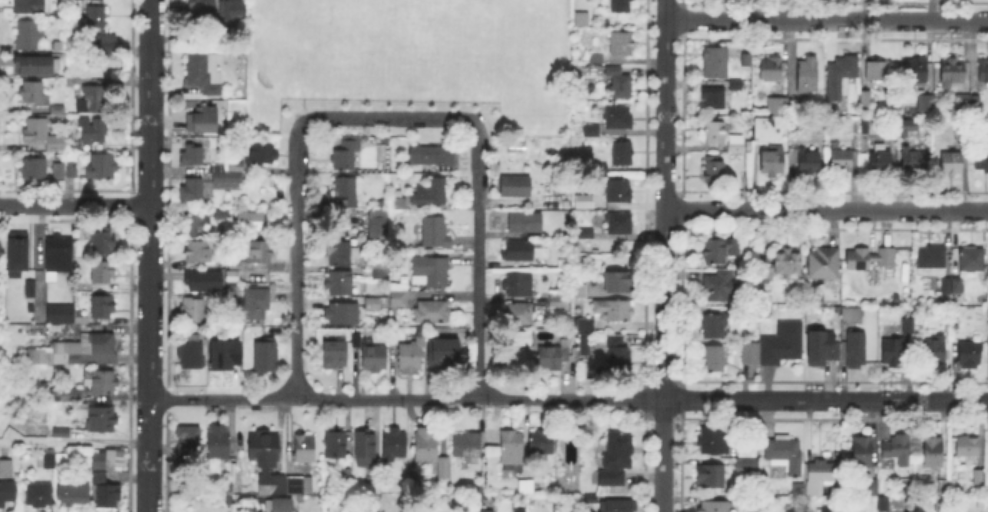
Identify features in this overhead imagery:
building: (715, 1)
building: (622, 6)
building: (32, 7)
building: (202, 9)
building: (232, 12)
building: (96, 20)
building: (583, 21)
road: (827, 21)
park: (402, 33)
building: (27, 35)
building: (104, 43)
building: (621, 45)
building: (597, 58)
building: (32, 64)
building: (716, 65)
building: (876, 68)
building: (771, 70)
building: (917, 70)
building: (983, 72)
building: (205, 73)
building: (952, 74)
building: (807, 77)
building: (841, 78)
building: (71, 80)
building: (617, 82)
building: (739, 86)
building: (34, 95)
building: (93, 100)
building: (716, 100)
building: (866, 100)
building: (925, 101)
road: (151, 102)
building: (962, 102)
building: (976, 106)
building: (775, 107)
building: (58, 111)
road: (300, 111)
road: (482, 111)
building: (206, 118)
road: (387, 118)
building: (616, 118)
building: (903, 126)
building: (864, 128)
building: (961, 129)
building: (93, 131)
building: (591, 131)
building: (763, 133)
building: (43, 137)
building: (723, 138)
building: (74, 147)
building: (192, 152)
building: (258, 152)
building: (347, 156)
building: (431, 157)
building: (624, 157)
building: (841, 161)
building: (982, 161)
building: (808, 163)
building: (880, 163)
building: (912, 163)
building: (233, 164)
building: (771, 164)
building: (952, 164)
building: (599, 167)
building: (59, 169)
building: (73, 170)
building: (102, 170)
building: (33, 171)
building: (715, 174)
building: (227, 182)
building: (515, 188)
building: (191, 189)
building: (346, 189)
building: (619, 193)
building: (431, 194)
road: (665, 199)
building: (398, 200)
building: (581, 200)
road: (75, 205)
road: (826, 209)
building: (222, 216)
building: (248, 219)
building: (525, 220)
building: (375, 223)
building: (197, 224)
building: (620, 225)
building: (585, 232)
building: (435, 233)
building: (103, 246)
building: (79, 247)
building: (15, 250)
building: (720, 251)
building: (518, 253)
building: (200, 255)
building: (259, 255)
building: (341, 255)
building: (58, 256)
road: (478, 259)
road: (297, 260)
building: (870, 260)
building: (973, 262)
building: (932, 263)
building: (788, 264)
building: (824, 267)
building: (431, 269)
building: (102, 275)
building: (204, 281)
building: (340, 283)
building: (620, 284)
building: (518, 286)
building: (719, 286)
building: (27, 287)
building: (946, 287)
building: (957, 287)
building: (580, 293)
building: (399, 300)
building: (557, 300)
building: (957, 300)
road: (149, 302)
building: (369, 302)
building: (944, 302)
building: (254, 303)
building: (103, 308)
building: (193, 312)
building: (432, 313)
building: (614, 314)
building: (519, 315)
building: (64, 316)
building: (342, 317)
building: (853, 318)
building: (908, 328)
building: (715, 329)
building: (947, 329)
building: (517, 343)
building: (586, 343)
building: (782, 345)
building: (821, 346)
building: (855, 347)
building: (987, 347)
building: (444, 349)
building: (73, 352)
building: (935, 352)
building: (222, 353)
building: (369, 354)
building: (618, 354)
building: (895, 354)
building: (749, 356)
building: (410, 357)
building: (970, 357)
building: (335, 358)
building: (555, 358)
building: (265, 359)
building: (190, 360)
building: (714, 362)
building: (101, 384)
building: (64, 393)
road: (406, 399)
road: (825, 401)
building: (101, 422)
building: (61, 432)
building: (217, 440)
road: (74, 441)
building: (541, 444)
building: (712, 444)
building: (468, 445)
building: (188, 446)
building: (394, 446)
building: (335, 449)
building: (511, 449)
building: (747, 449)
building: (968, 449)
building: (304, 450)
building: (364, 450)
building: (898, 452)
building: (430, 453)
building: (934, 454)
road: (148, 455)
road: (663, 456)
building: (785, 456)
building: (863, 456)
building: (617, 459)
building: (46, 460)
building: (64, 462)
building: (747, 466)
building: (273, 469)
building: (6, 471)
building: (820, 475)
building: (375, 477)
building: (105, 478)
building: (979, 479)
building: (711, 480)
building: (526, 488)
building: (873, 488)
building: (415, 489)
building: (798, 490)
building: (946, 490)
building: (6, 495)
building: (72, 495)
building: (39, 496)
building: (592, 500)
building: (883, 503)
building: (281, 504)
building: (943, 505)
building: (618, 507)
building: (715, 507)
building: (517, 509)
building: (790, 509)
building: (479, 510)

